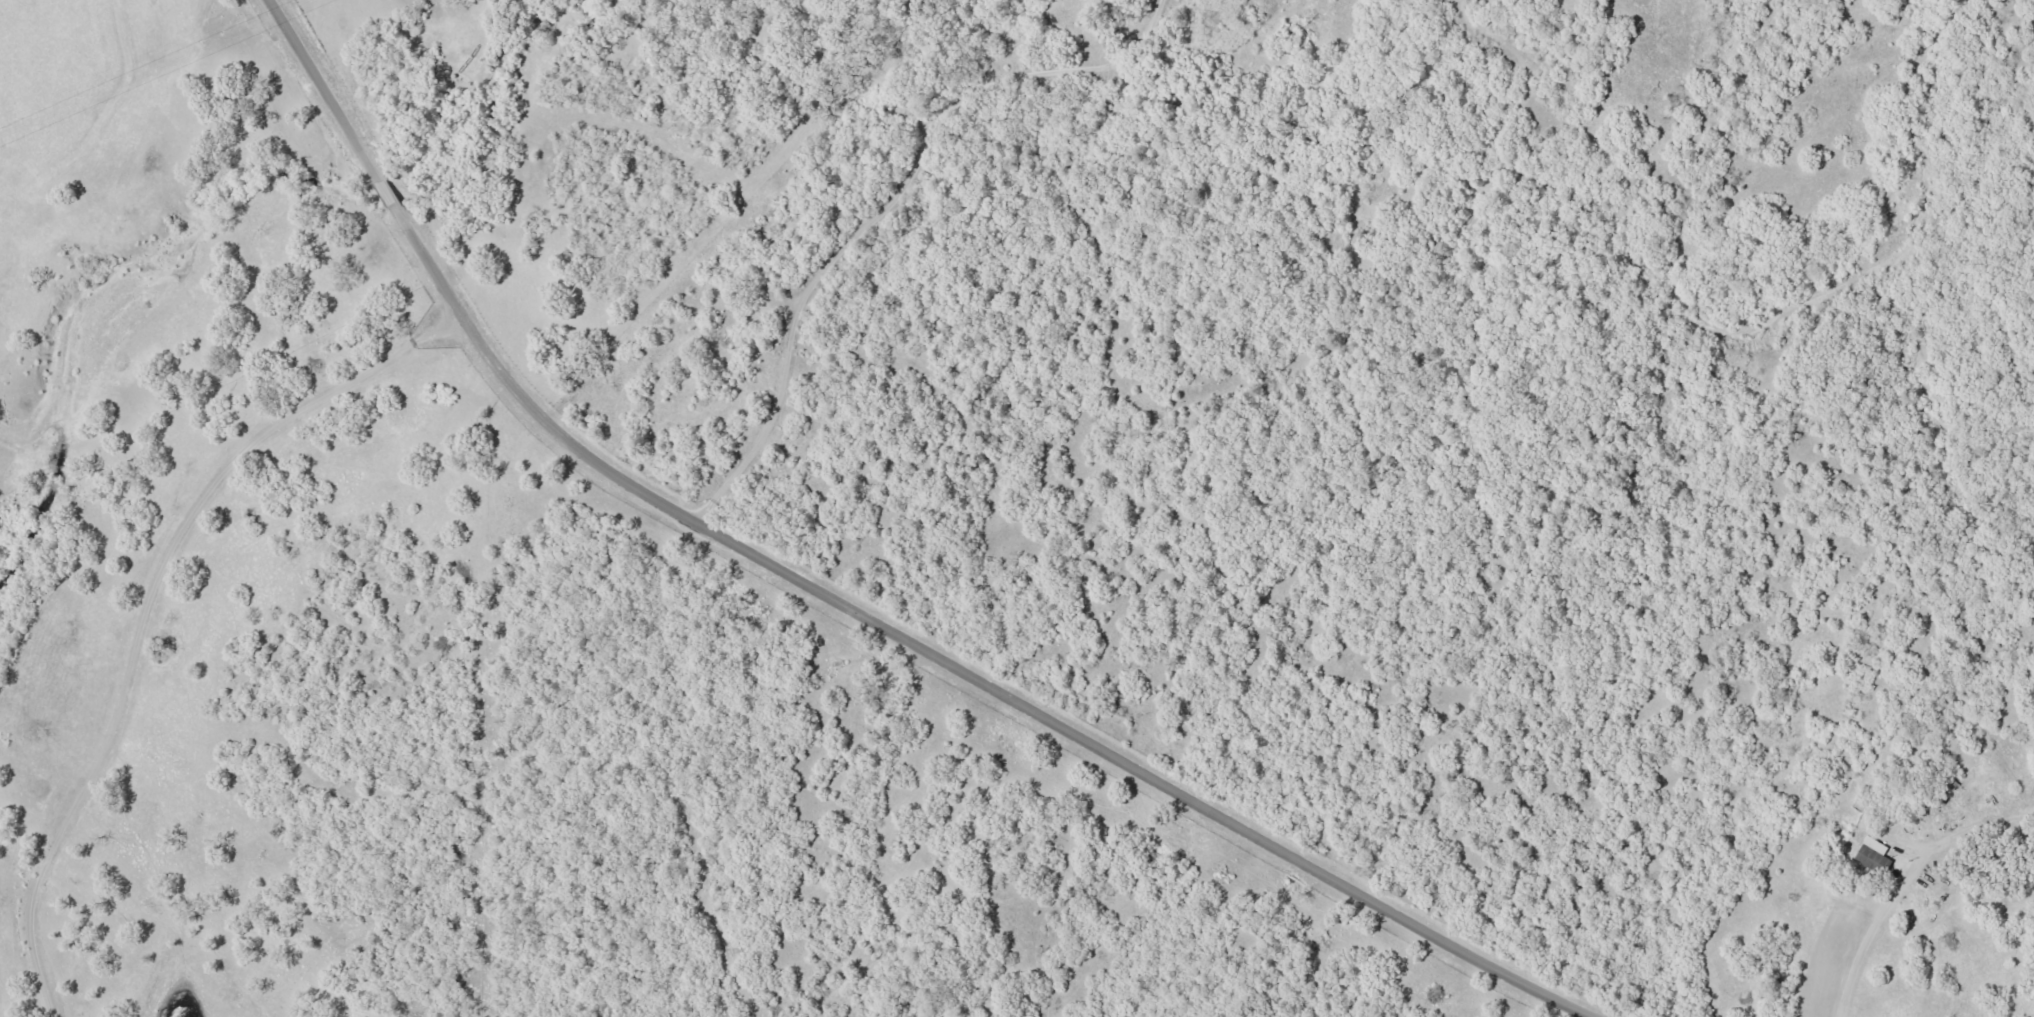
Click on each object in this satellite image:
road: (858, 217)
road: (854, 604)
road: (189, 621)
building: (1871, 854)

